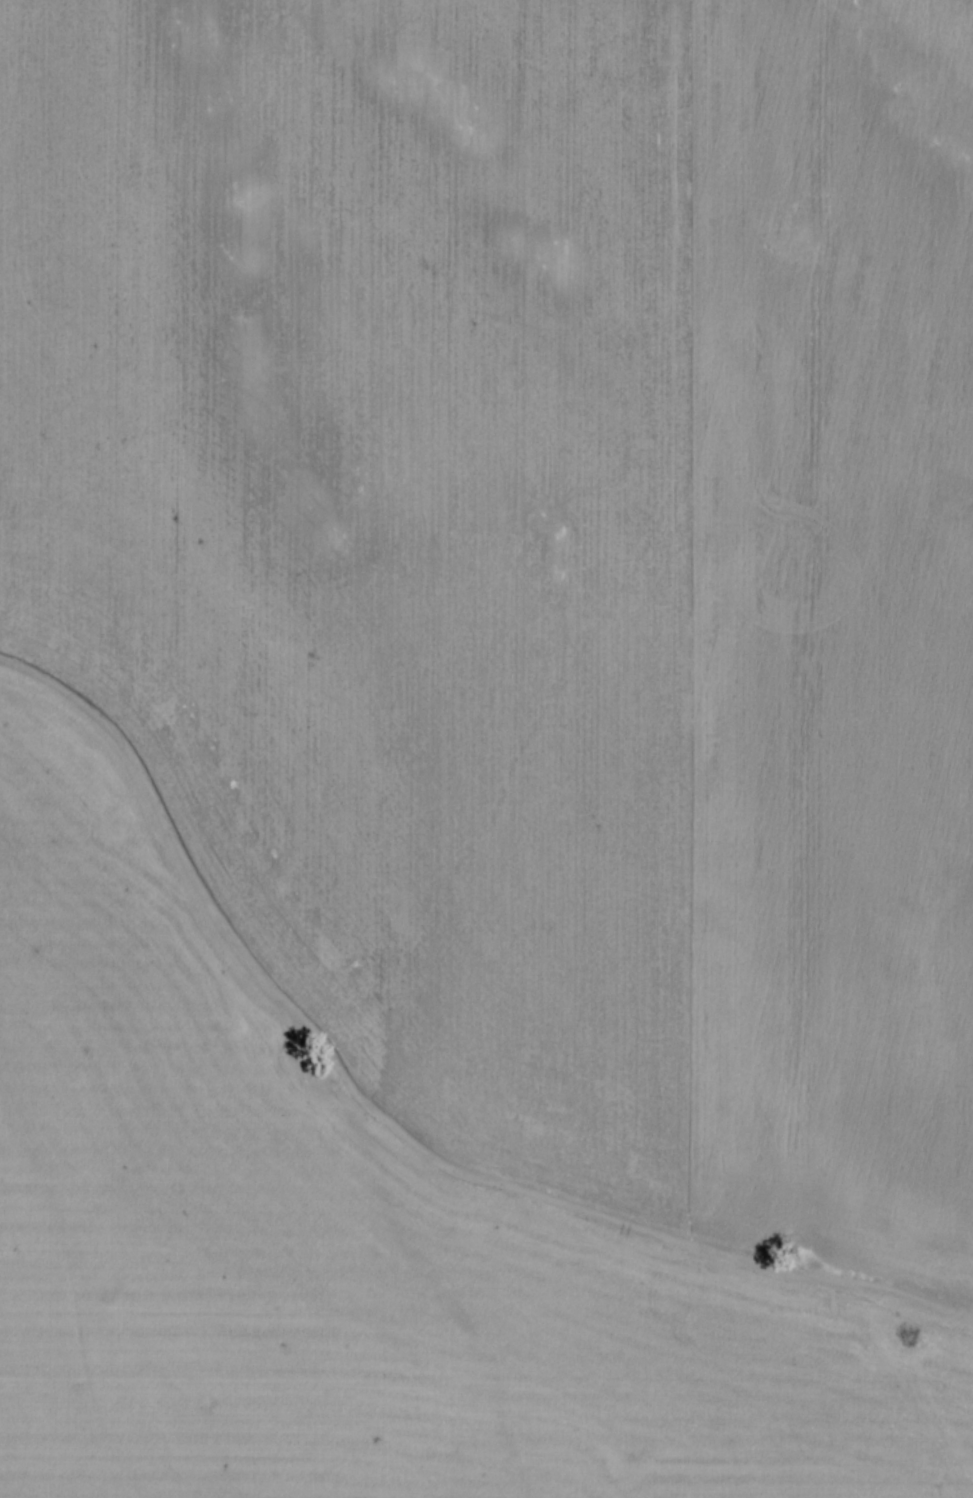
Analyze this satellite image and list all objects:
crop: (486, 749)

